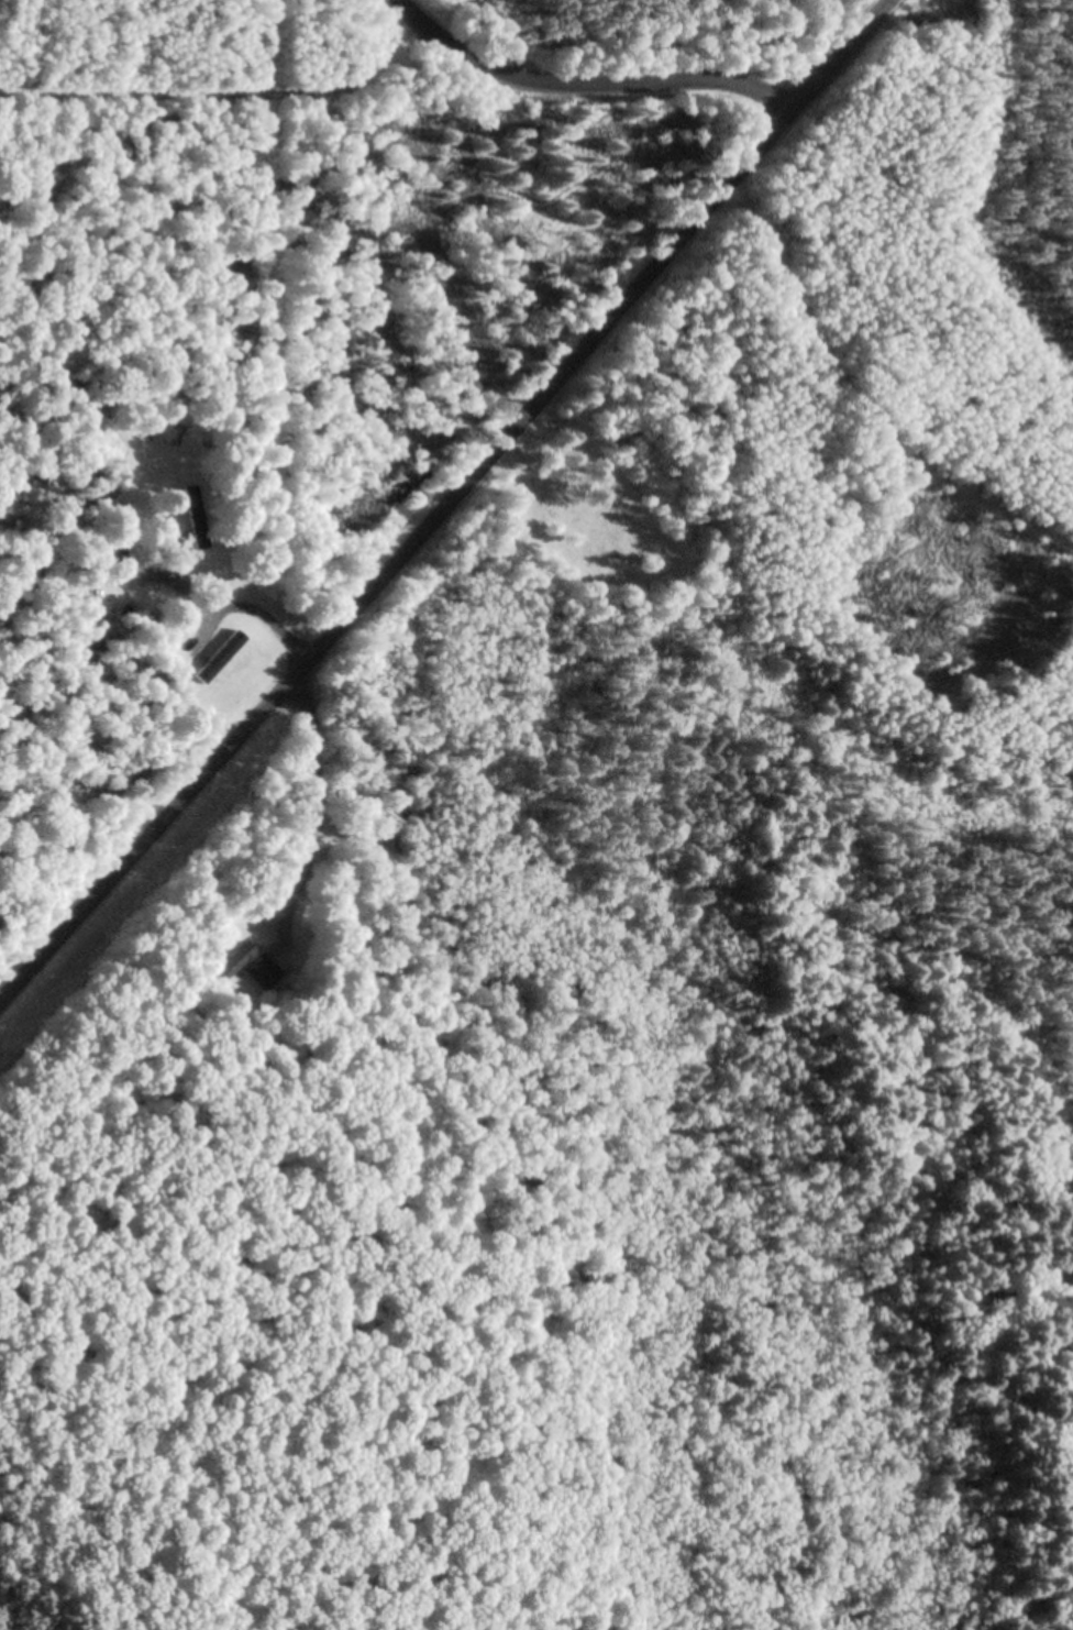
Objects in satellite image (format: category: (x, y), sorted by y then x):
road: (584, 81)
road: (449, 499)
building: (195, 517)
building: (218, 657)
building: (242, 967)

